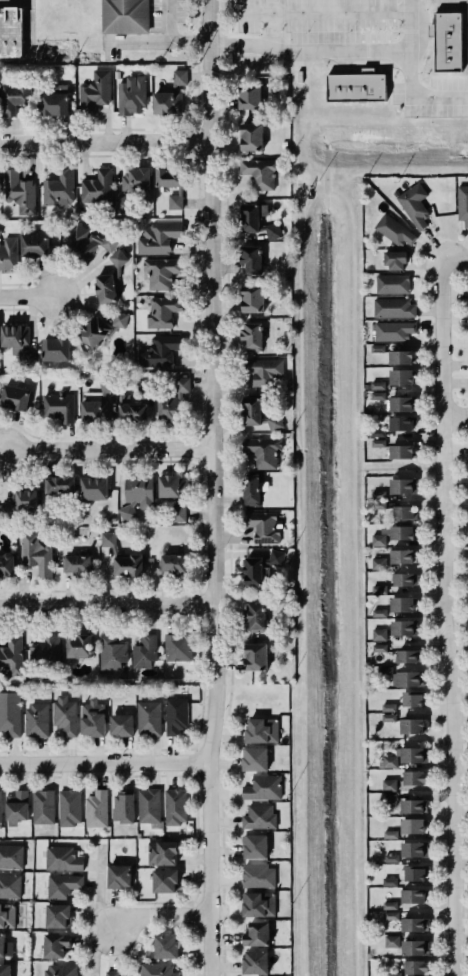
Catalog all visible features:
building: (124, 16)
road: (271, 23)
building: (10, 28)
road: (173, 34)
road: (26, 41)
building: (446, 41)
road: (331, 50)
building: (355, 87)
building: (95, 89)
building: (130, 94)
building: (12, 95)
building: (169, 95)
building: (249, 97)
building: (53, 101)
building: (251, 136)
road: (104, 140)
building: (259, 170)
building: (169, 178)
building: (136, 180)
road: (311, 180)
building: (96, 186)
building: (18, 190)
building: (59, 190)
building: (174, 202)
road: (348, 203)
building: (412, 203)
building: (122, 204)
building: (462, 204)
building: (257, 221)
building: (393, 230)
building: (158, 238)
building: (89, 243)
building: (35, 245)
building: (8, 254)
building: (251, 258)
building: (394, 259)
road: (454, 259)
building: (161, 271)
building: (108, 279)
building: (392, 284)
building: (467, 293)
road: (26, 297)
building: (252, 297)
building: (393, 308)
building: (161, 312)
building: (467, 317)
building: (99, 329)
building: (392, 330)
building: (252, 336)
building: (16, 343)
building: (56, 349)
building: (377, 349)
building: (159, 350)
building: (400, 357)
road: (351, 360)
building: (467, 364)
building: (263, 370)
building: (400, 377)
building: (377, 385)
building: (377, 396)
building: (13, 397)
building: (173, 402)
building: (96, 404)
building: (133, 404)
building: (401, 404)
building: (58, 405)
building: (257, 414)
road: (455, 414)
building: (400, 423)
building: (378, 433)
road: (301, 436)
building: (376, 442)
road: (107, 449)
building: (263, 452)
building: (400, 452)
road: (392, 467)
building: (58, 484)
building: (171, 485)
building: (402, 486)
building: (94, 488)
road: (211, 488)
building: (250, 489)
building: (136, 494)
building: (21, 502)
building: (378, 505)
building: (403, 513)
building: (263, 527)
building: (392, 534)
building: (108, 540)
building: (36, 555)
building: (402, 556)
building: (378, 563)
building: (173, 564)
building: (6, 565)
building: (78, 565)
building: (128, 565)
building: (259, 567)
building: (403, 579)
building: (379, 589)
building: (402, 604)
road: (105, 605)
building: (378, 612)
building: (254, 617)
road: (442, 618)
building: (403, 627)
building: (379, 635)
building: (79, 646)
building: (178, 648)
building: (380, 649)
building: (144, 650)
building: (111, 652)
building: (11, 654)
building: (44, 656)
building: (407, 656)
building: (255, 657)
building: (384, 670)
building: (409, 678)
building: (413, 699)
building: (389, 708)
building: (10, 714)
building: (65, 715)
building: (175, 716)
building: (92, 718)
building: (388, 718)
building: (149, 719)
building: (36, 720)
road: (354, 721)
building: (121, 725)
building: (411, 726)
building: (262, 731)
building: (414, 755)
building: (255, 759)
building: (390, 762)
road: (102, 764)
building: (414, 778)
building: (389, 785)
building: (263, 788)
building: (389, 800)
building: (148, 805)
building: (16, 806)
building: (174, 806)
building: (412, 806)
building: (42, 807)
building: (69, 807)
building: (95, 809)
building: (122, 809)
building: (0, 815)
building: (258, 816)
building: (412, 826)
road: (301, 828)
building: (390, 835)
building: (255, 847)
building: (414, 850)
building: (161, 853)
building: (11, 856)
building: (392, 858)
building: (63, 859)
building: (415, 874)
building: (259, 876)
building: (119, 877)
building: (164, 881)
building: (389, 882)
building: (10, 886)
building: (63, 886)
building: (413, 896)
building: (259, 905)
building: (390, 906)
road: (100, 914)
building: (7, 915)
building: (57, 916)
building: (390, 916)
road: (157, 917)
building: (412, 922)
building: (257, 934)
building: (392, 942)
building: (55, 945)
building: (5, 947)
building: (164, 947)
building: (415, 948)
building: (254, 963)
building: (414, 967)
building: (156, 969)
building: (5, 970)
building: (60, 970)
building: (110, 973)
building: (393, 974)

